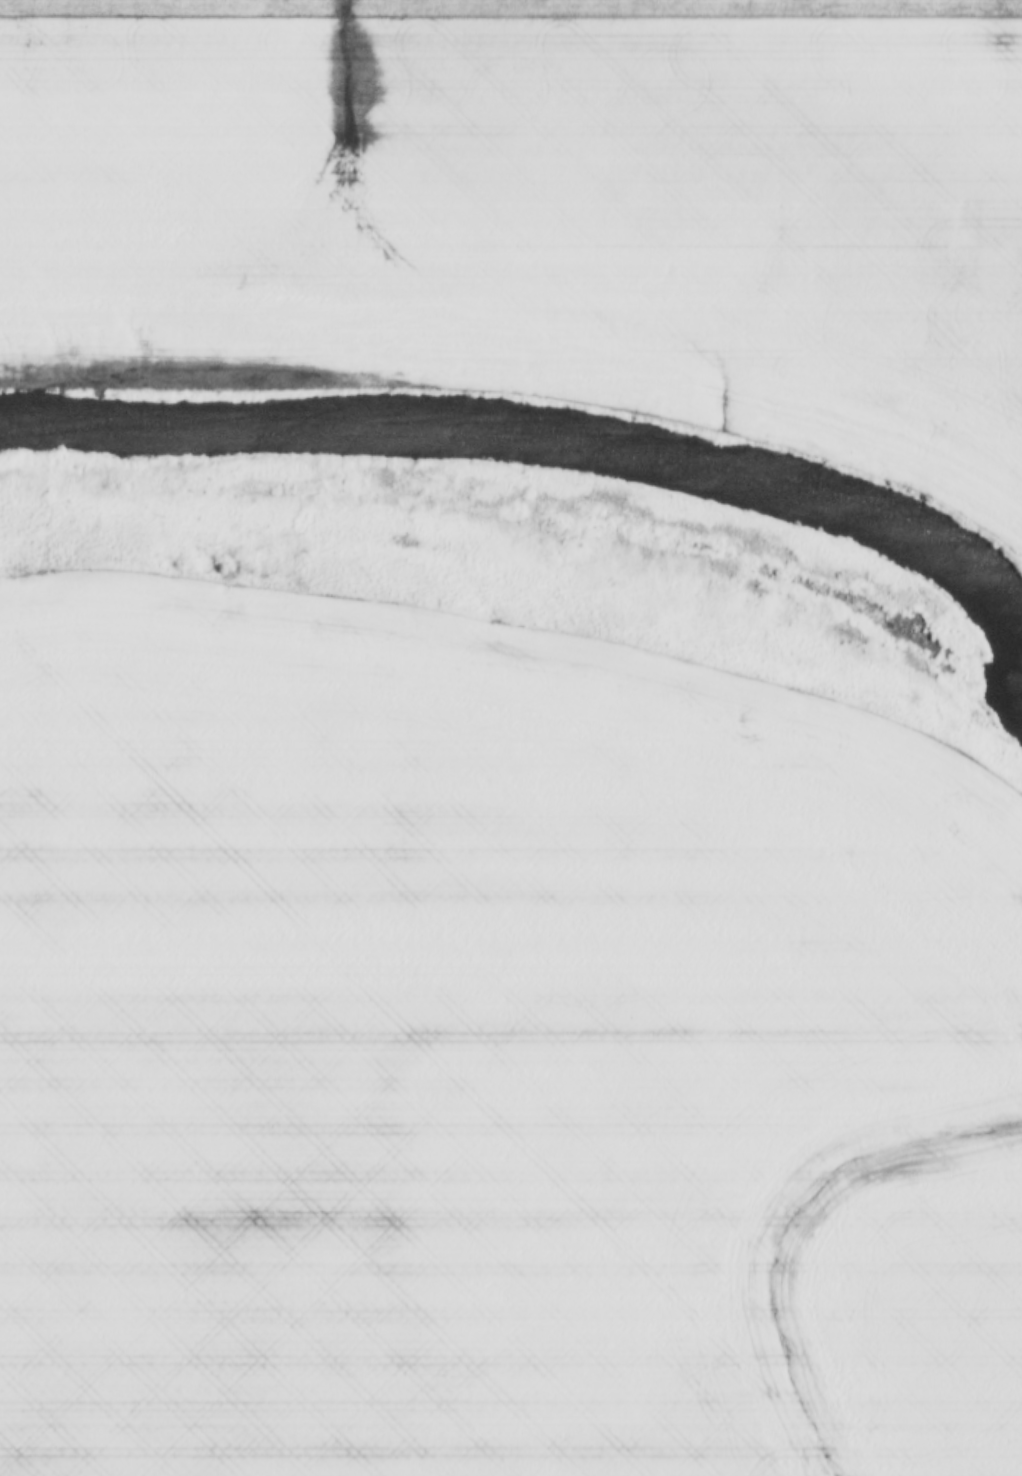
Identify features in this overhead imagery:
crop: (527, 5)
crop: (537, 215)
river: (539, 440)
crop: (490, 1056)

